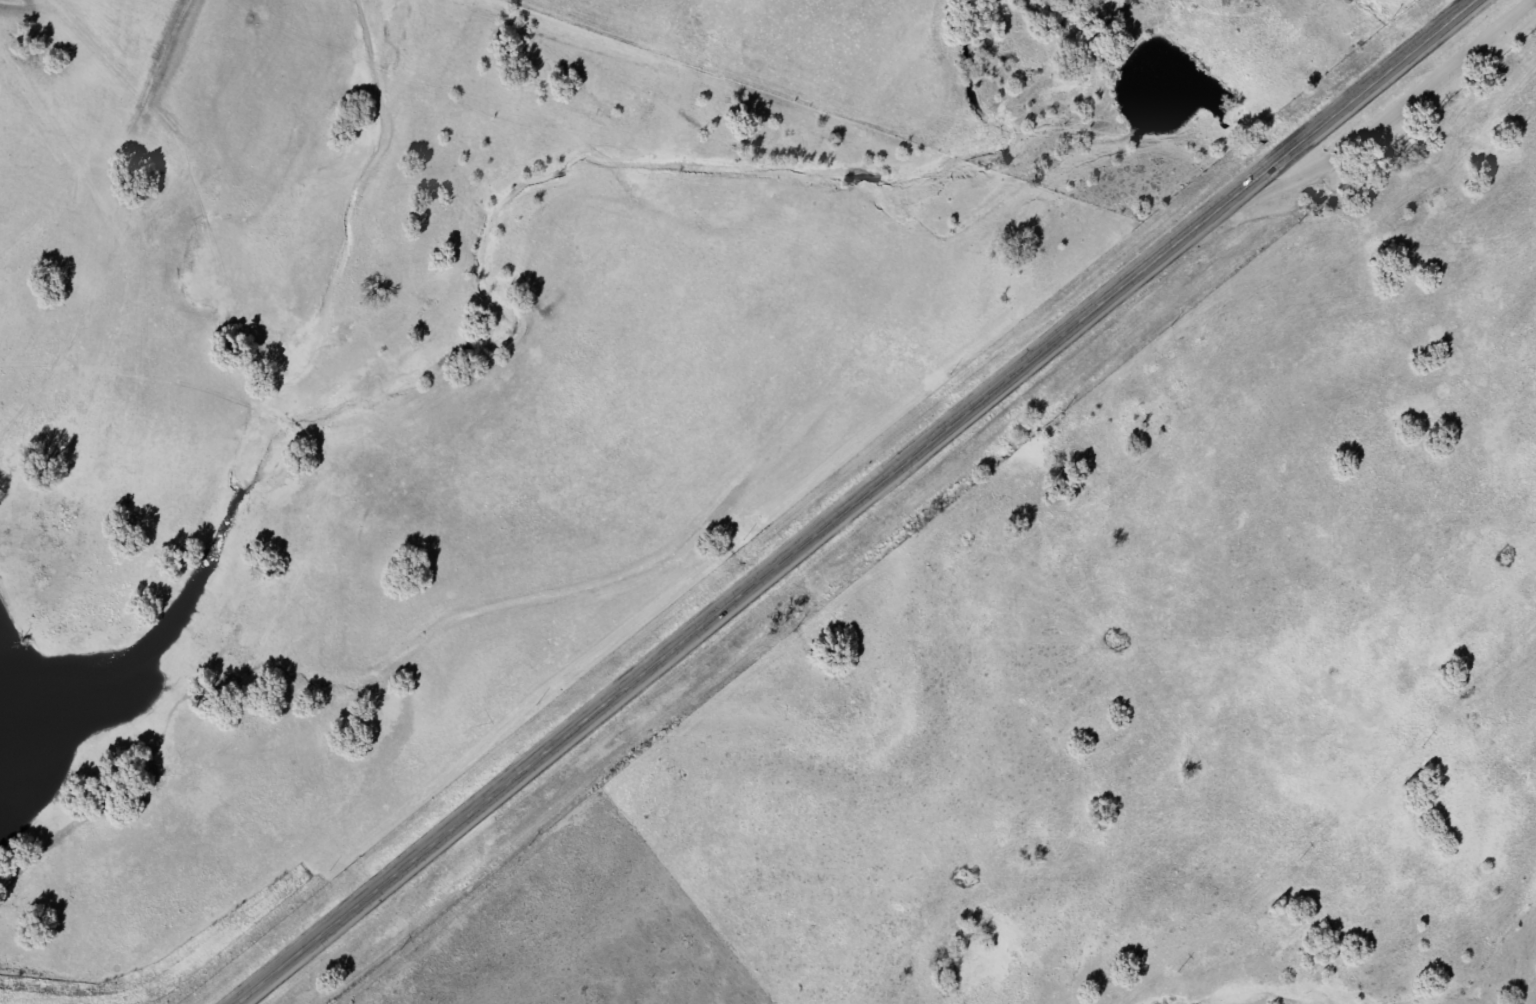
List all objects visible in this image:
road: (855, 502)

